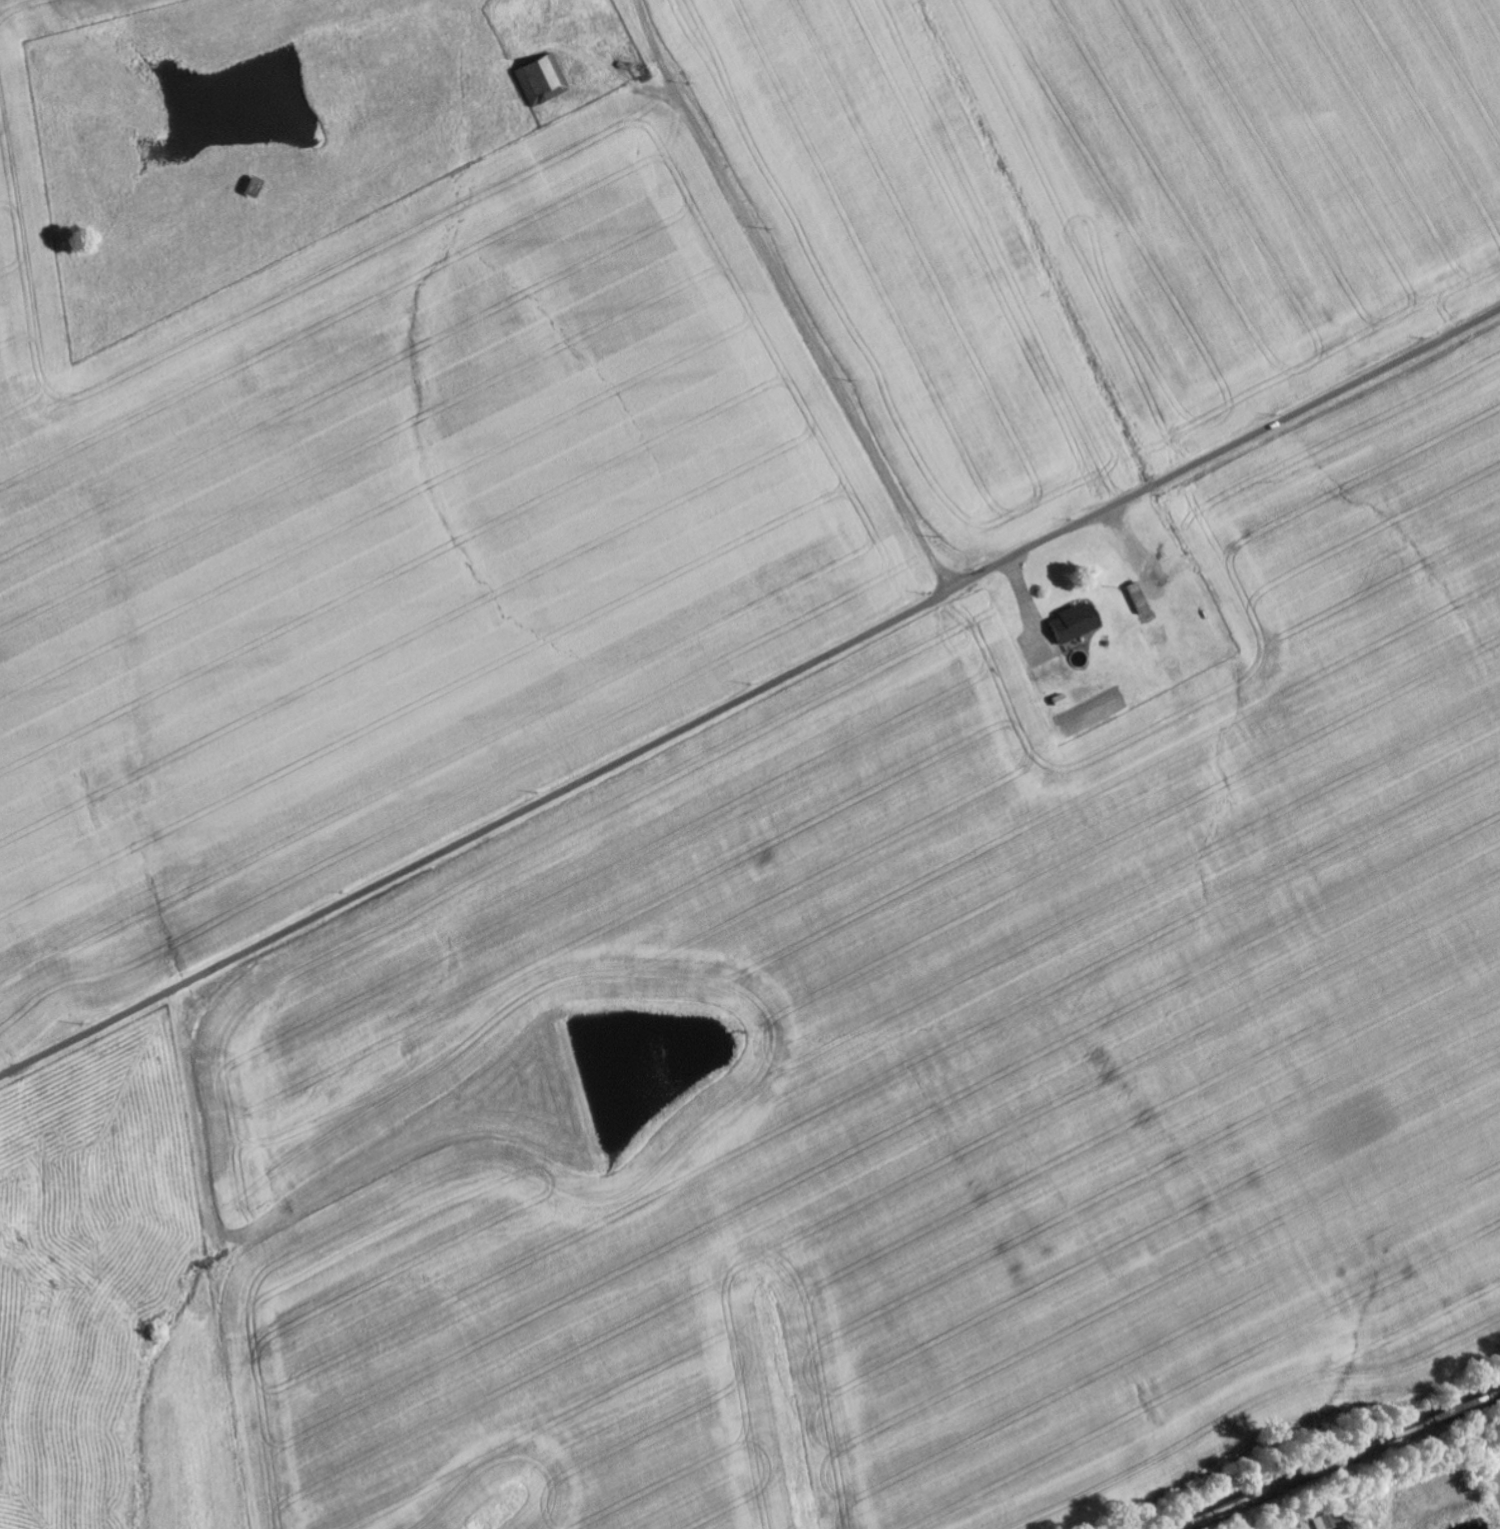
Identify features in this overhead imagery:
building: (543, 79)
road: (796, 347)
building: (1140, 598)
building: (1077, 622)
road: (751, 694)
railway: (1334, 1460)
building: (1329, 1519)

